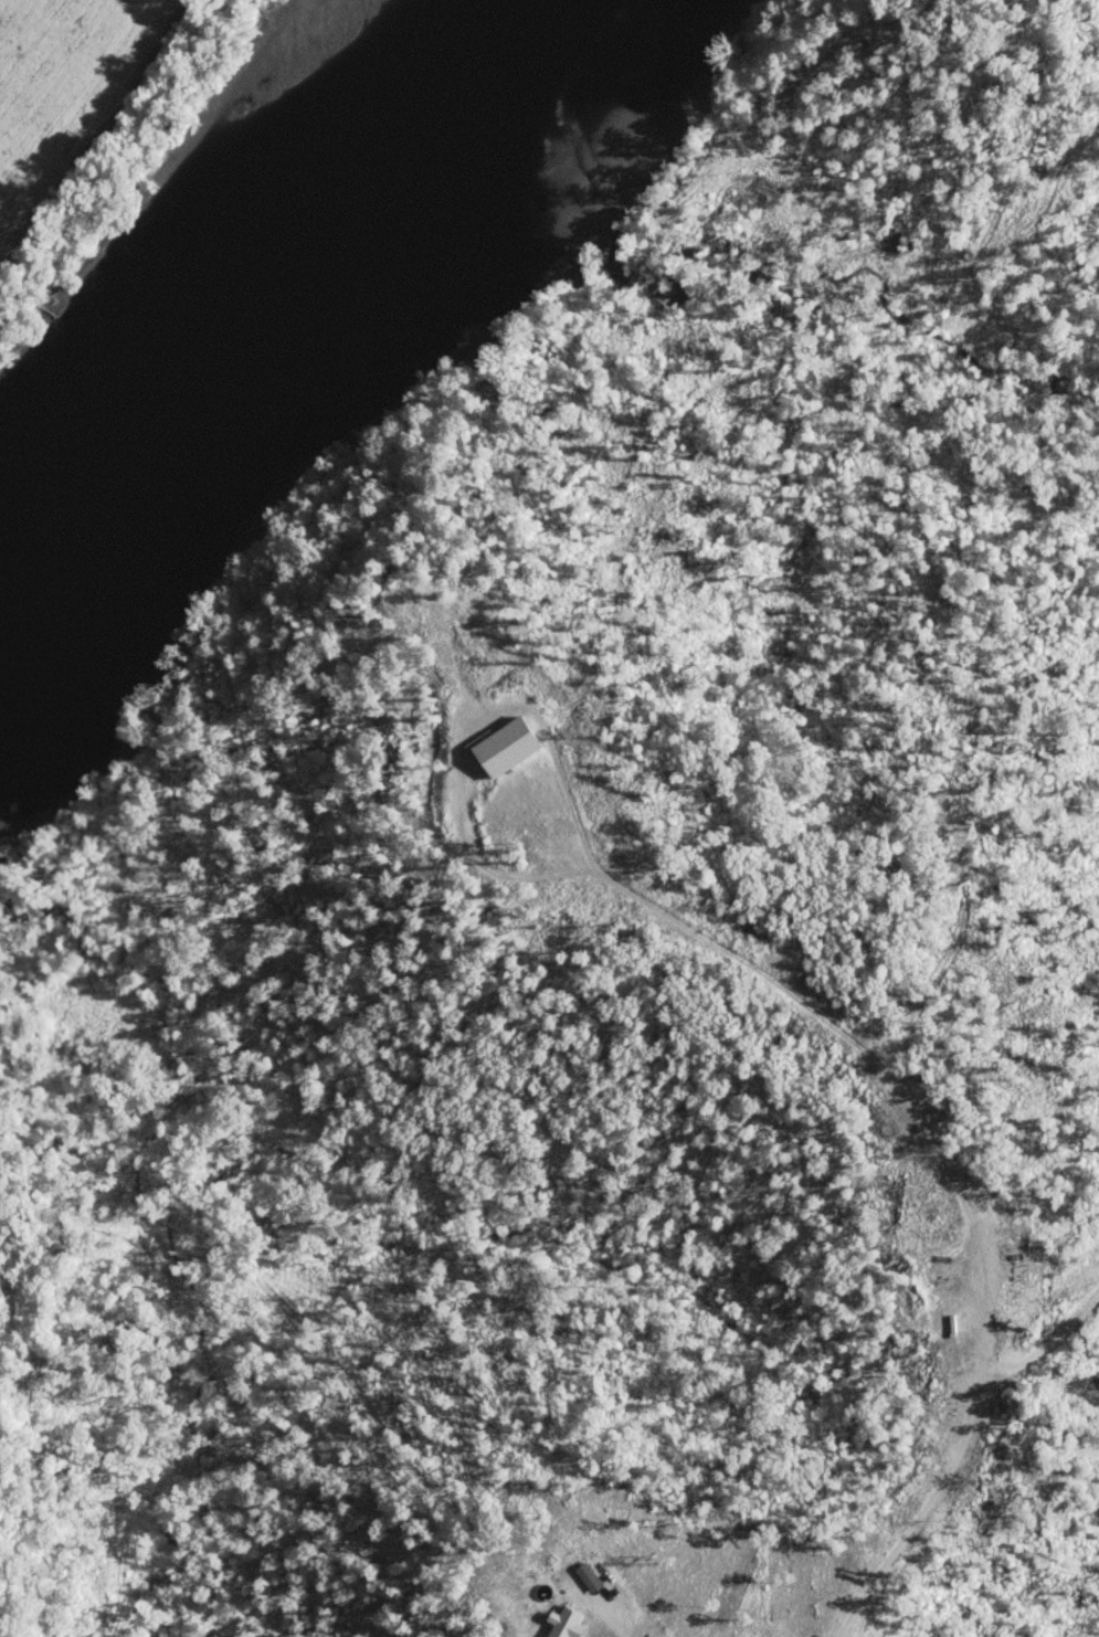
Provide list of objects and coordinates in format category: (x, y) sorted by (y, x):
river: (293, 335)

